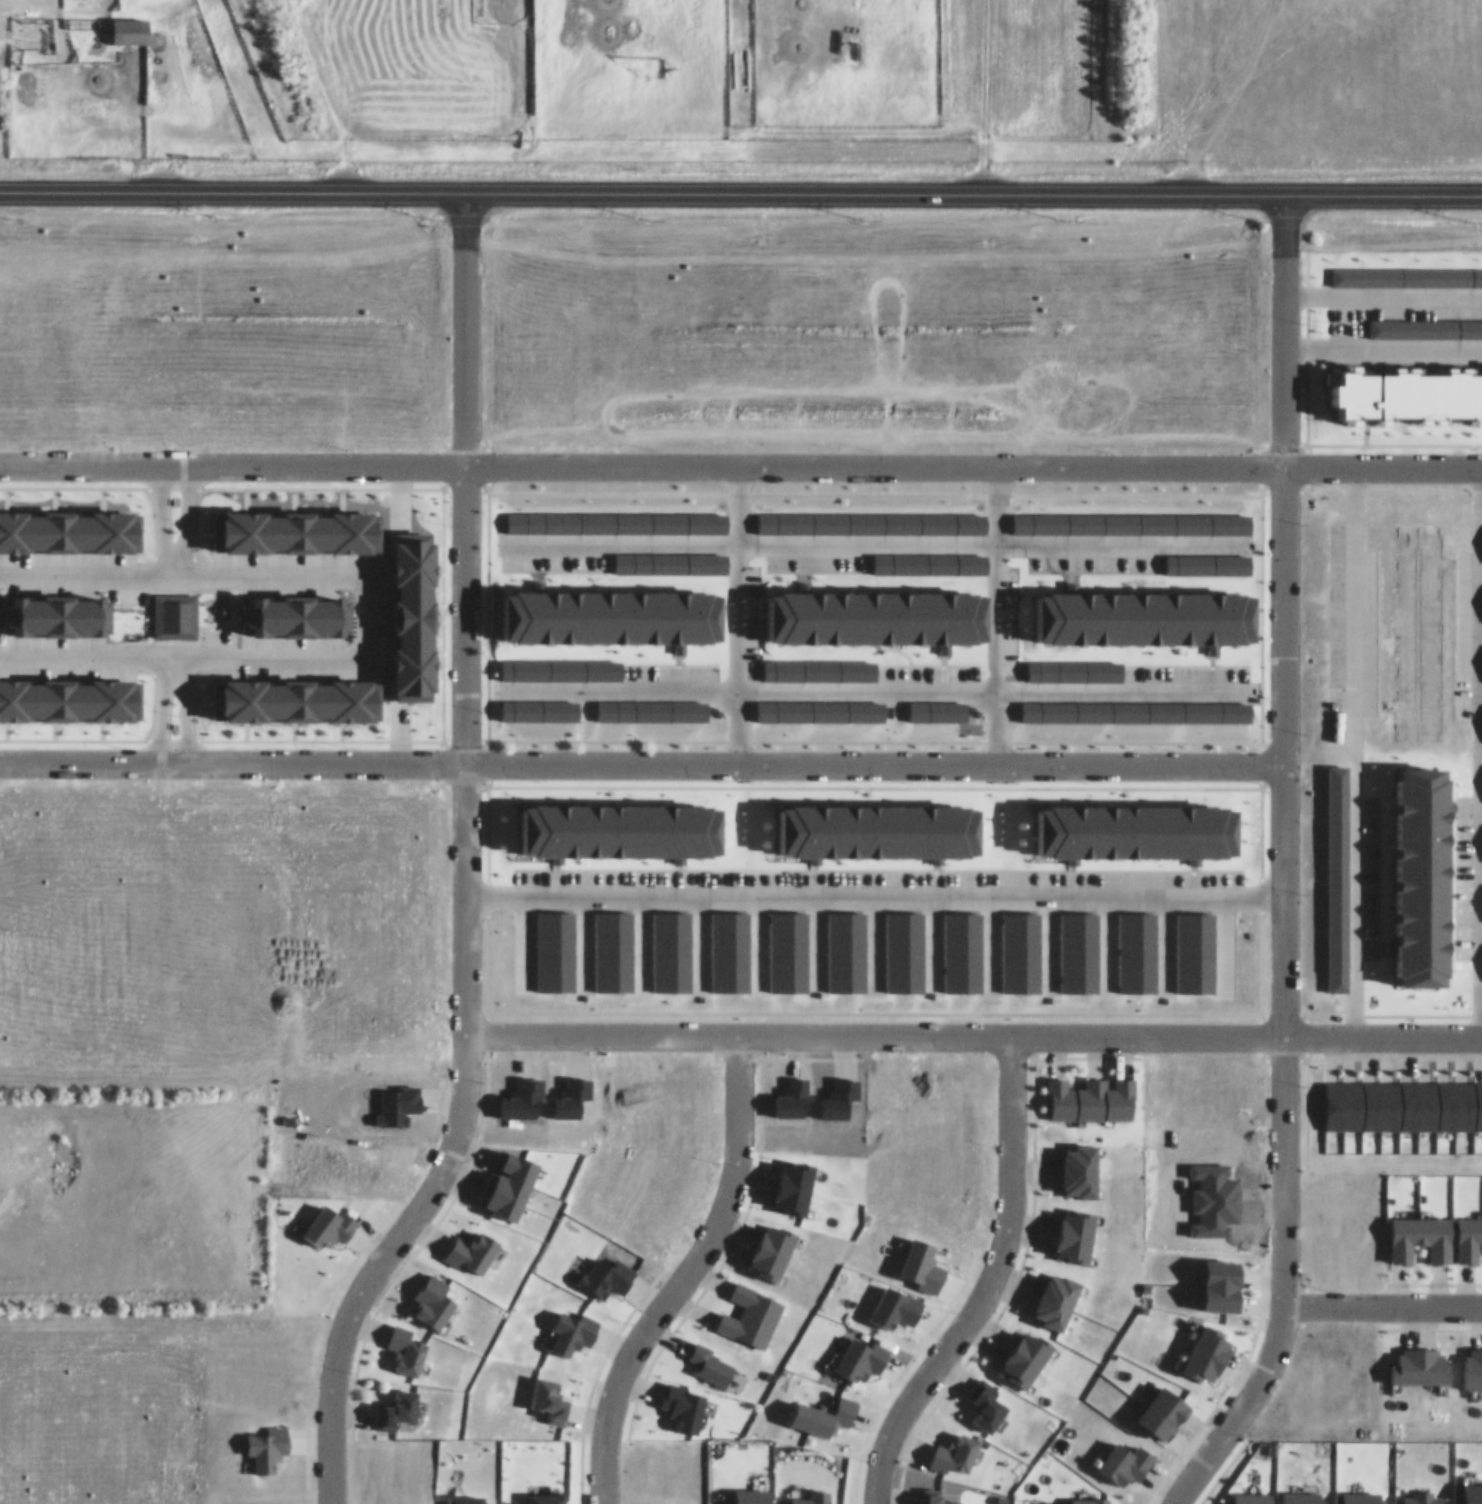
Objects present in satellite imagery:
building: (130, 20)
road: (1237, 97)
road: (984, 99)
road: (741, 198)
road: (1286, 220)
road: (740, 465)
road: (161, 507)
road: (184, 507)
road: (873, 540)
road: (173, 562)
road: (365, 613)
road: (738, 613)
road: (996, 613)
road: (172, 664)
road: (873, 687)
road: (186, 717)
road: (160, 718)
road: (1350, 750)
road: (1479, 751)
road: (640, 762)
road: (464, 868)
road: (1282, 892)
road: (873, 893)
road: (972, 1032)
building: (21, 1127)
building: (53, 1149)
road: (690, 1274)
road: (985, 1282)
road: (1382, 1304)

